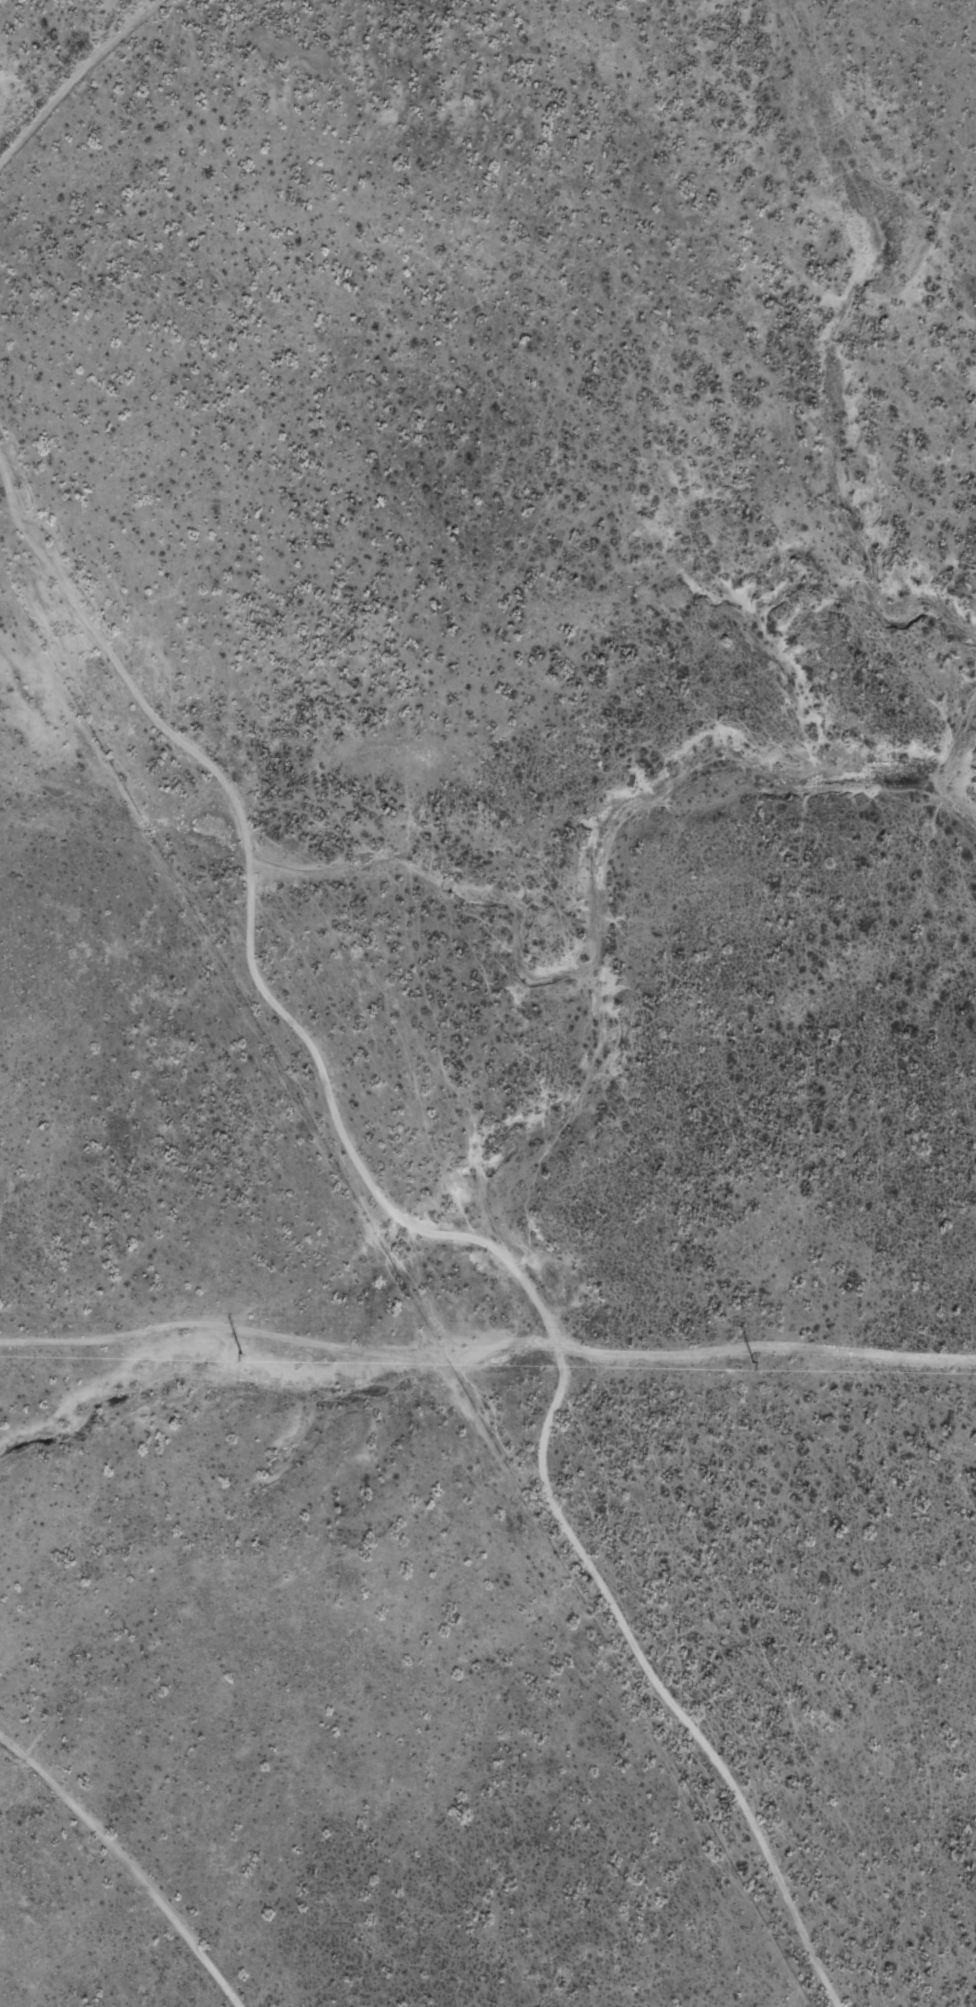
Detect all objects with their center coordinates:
road: (78, 91)
road: (410, 1218)
power tower: (242, 1353)
power tower: (754, 1361)
road: (122, 1860)

